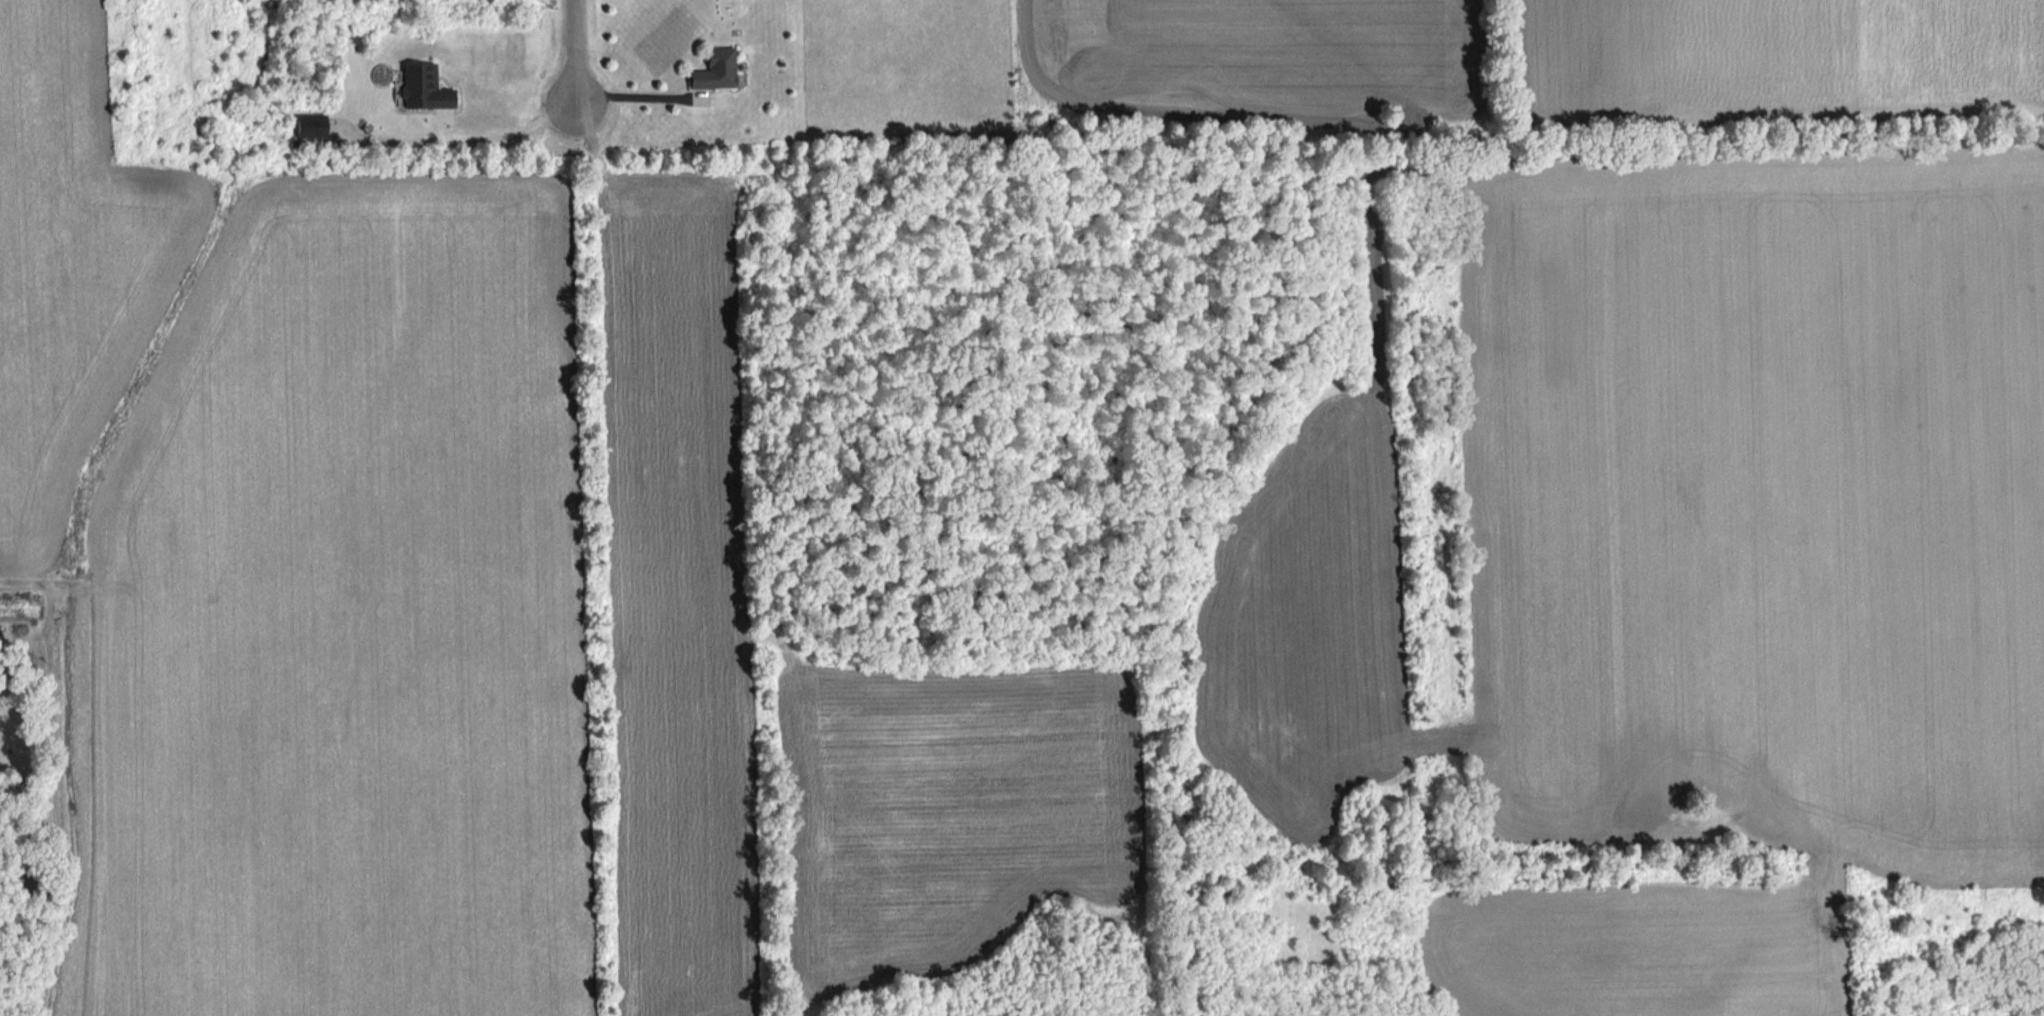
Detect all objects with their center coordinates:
road: (571, 57)
crop: (1778, 60)
crop: (1258, 61)
building: (711, 71)
building: (426, 90)
road: (632, 98)
road: (512, 135)
crop: (71, 261)
crop: (1689, 557)
crop: (679, 597)
crop: (349, 621)
crop: (949, 811)

